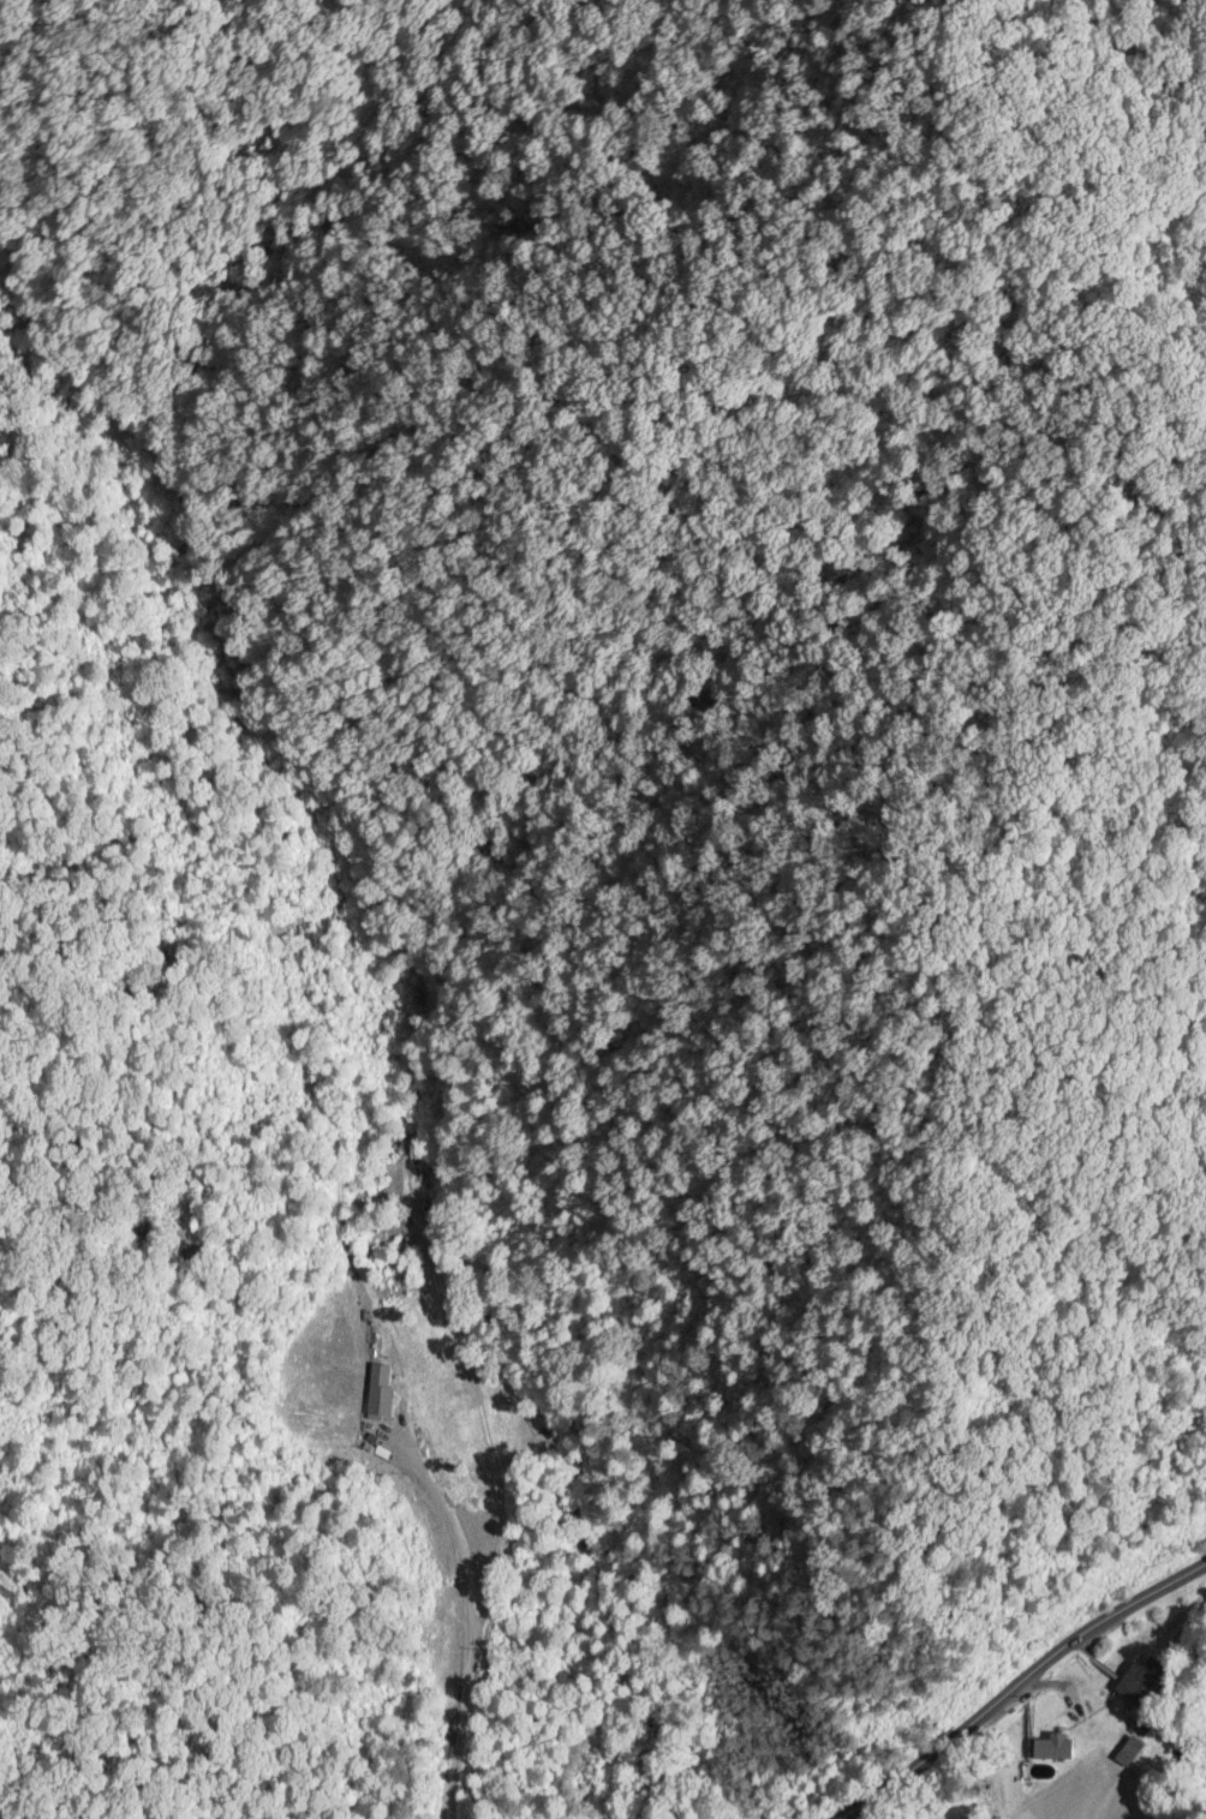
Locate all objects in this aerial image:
road: (967, 1681)

